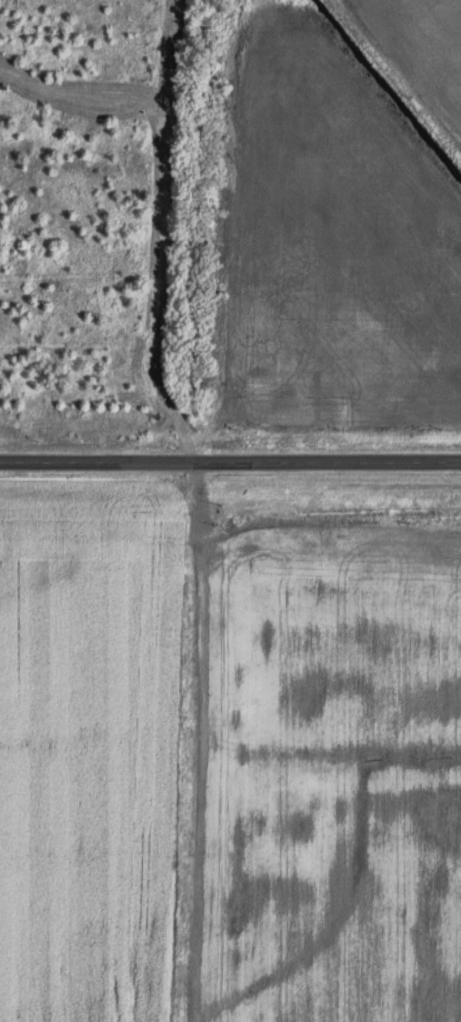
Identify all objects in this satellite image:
road: (230, 462)
road: (197, 507)

